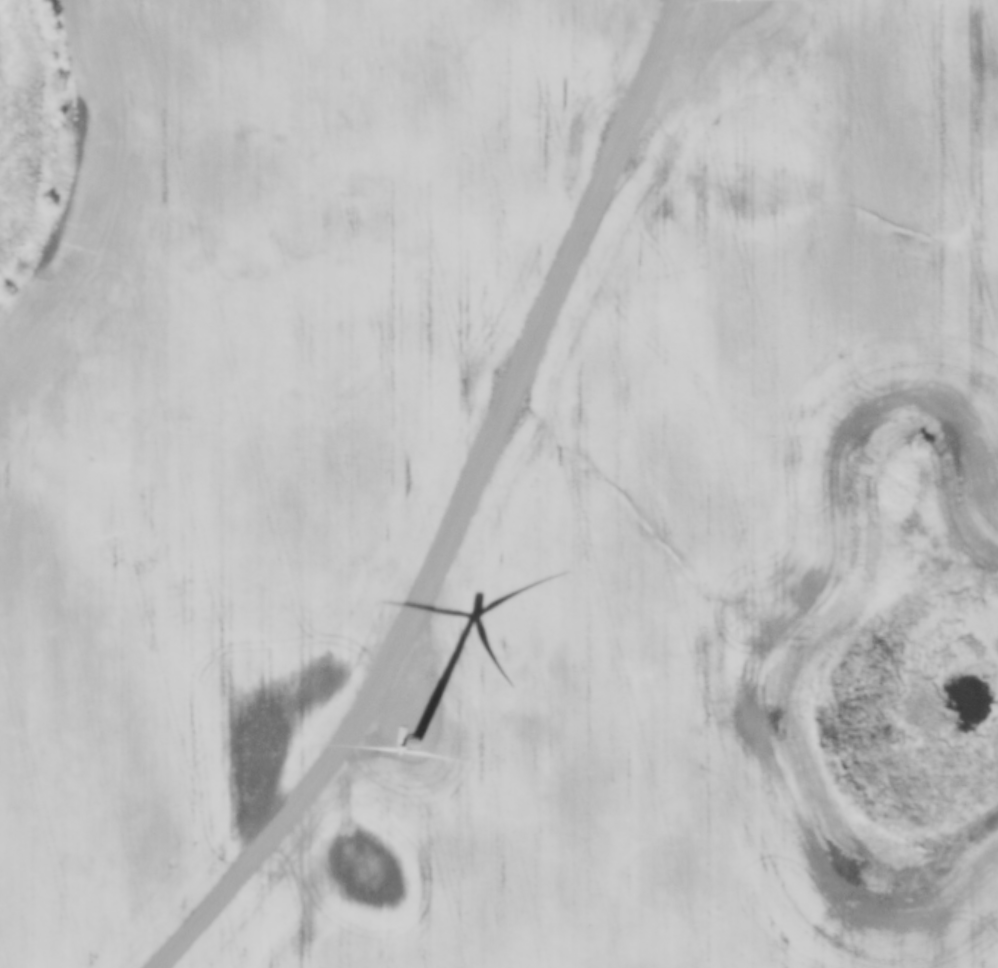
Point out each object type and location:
wind turbine: (407, 739)

